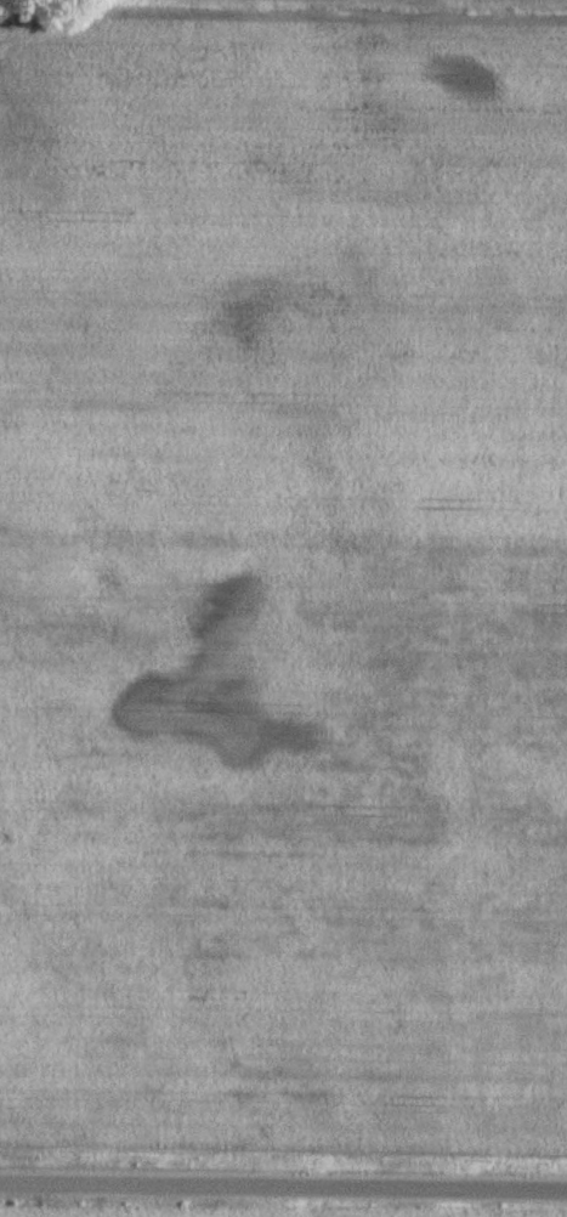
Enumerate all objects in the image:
road: (454, 930)
road: (283, 1187)

